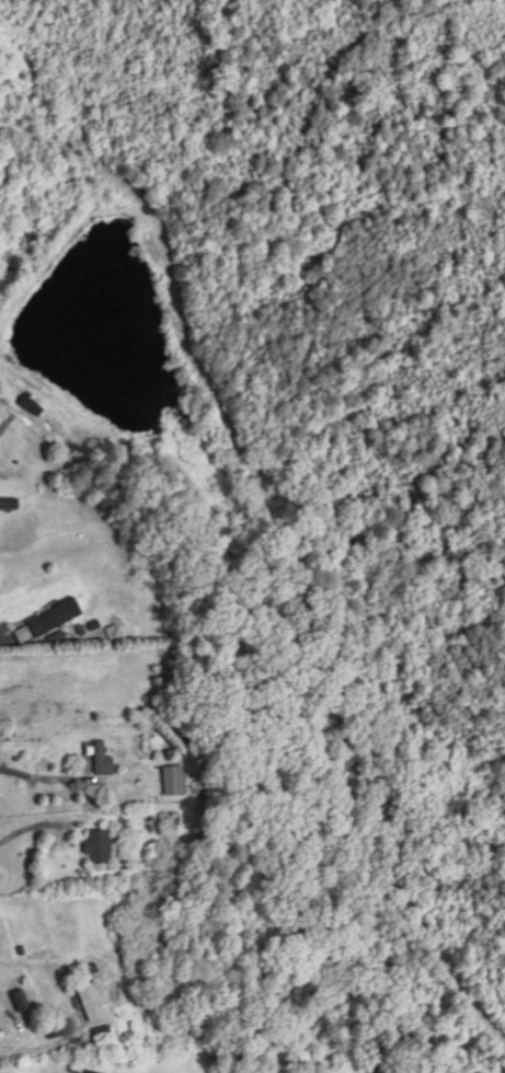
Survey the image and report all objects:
building: (33, 406)
building: (9, 504)
building: (56, 619)
road: (7, 638)
building: (104, 761)
building: (175, 782)
road: (35, 783)
road: (34, 826)
building: (100, 847)
building: (94, 1004)
road: (31, 1051)
building: (386, 1069)
building: (90, 1072)

